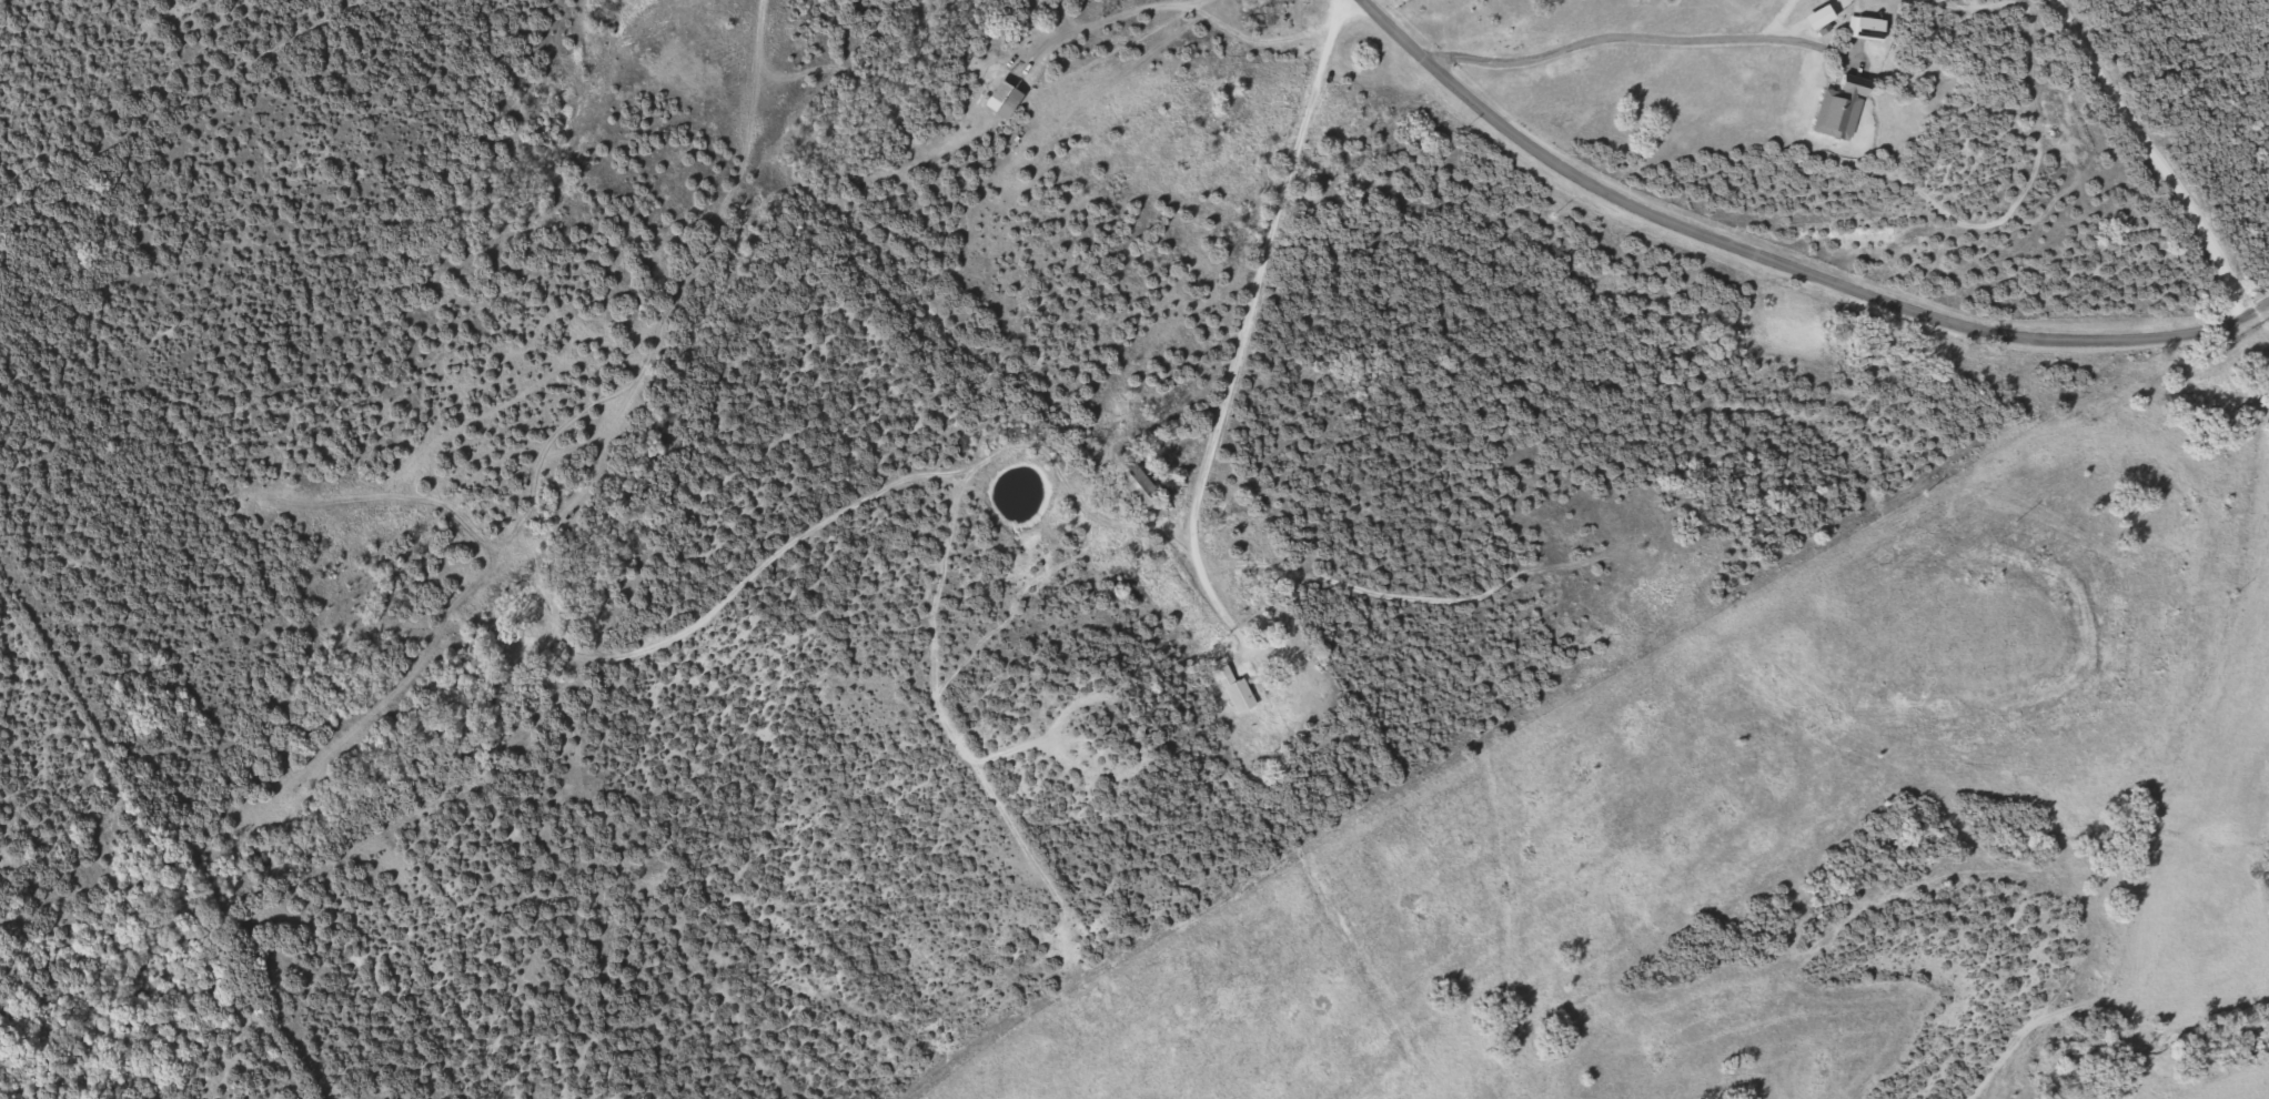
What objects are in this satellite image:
building: (1872, 30)
road: (1614, 39)
building: (1843, 110)
road: (2154, 159)
road: (1784, 264)
road: (1221, 362)
building: (1141, 478)
building: (1234, 688)

